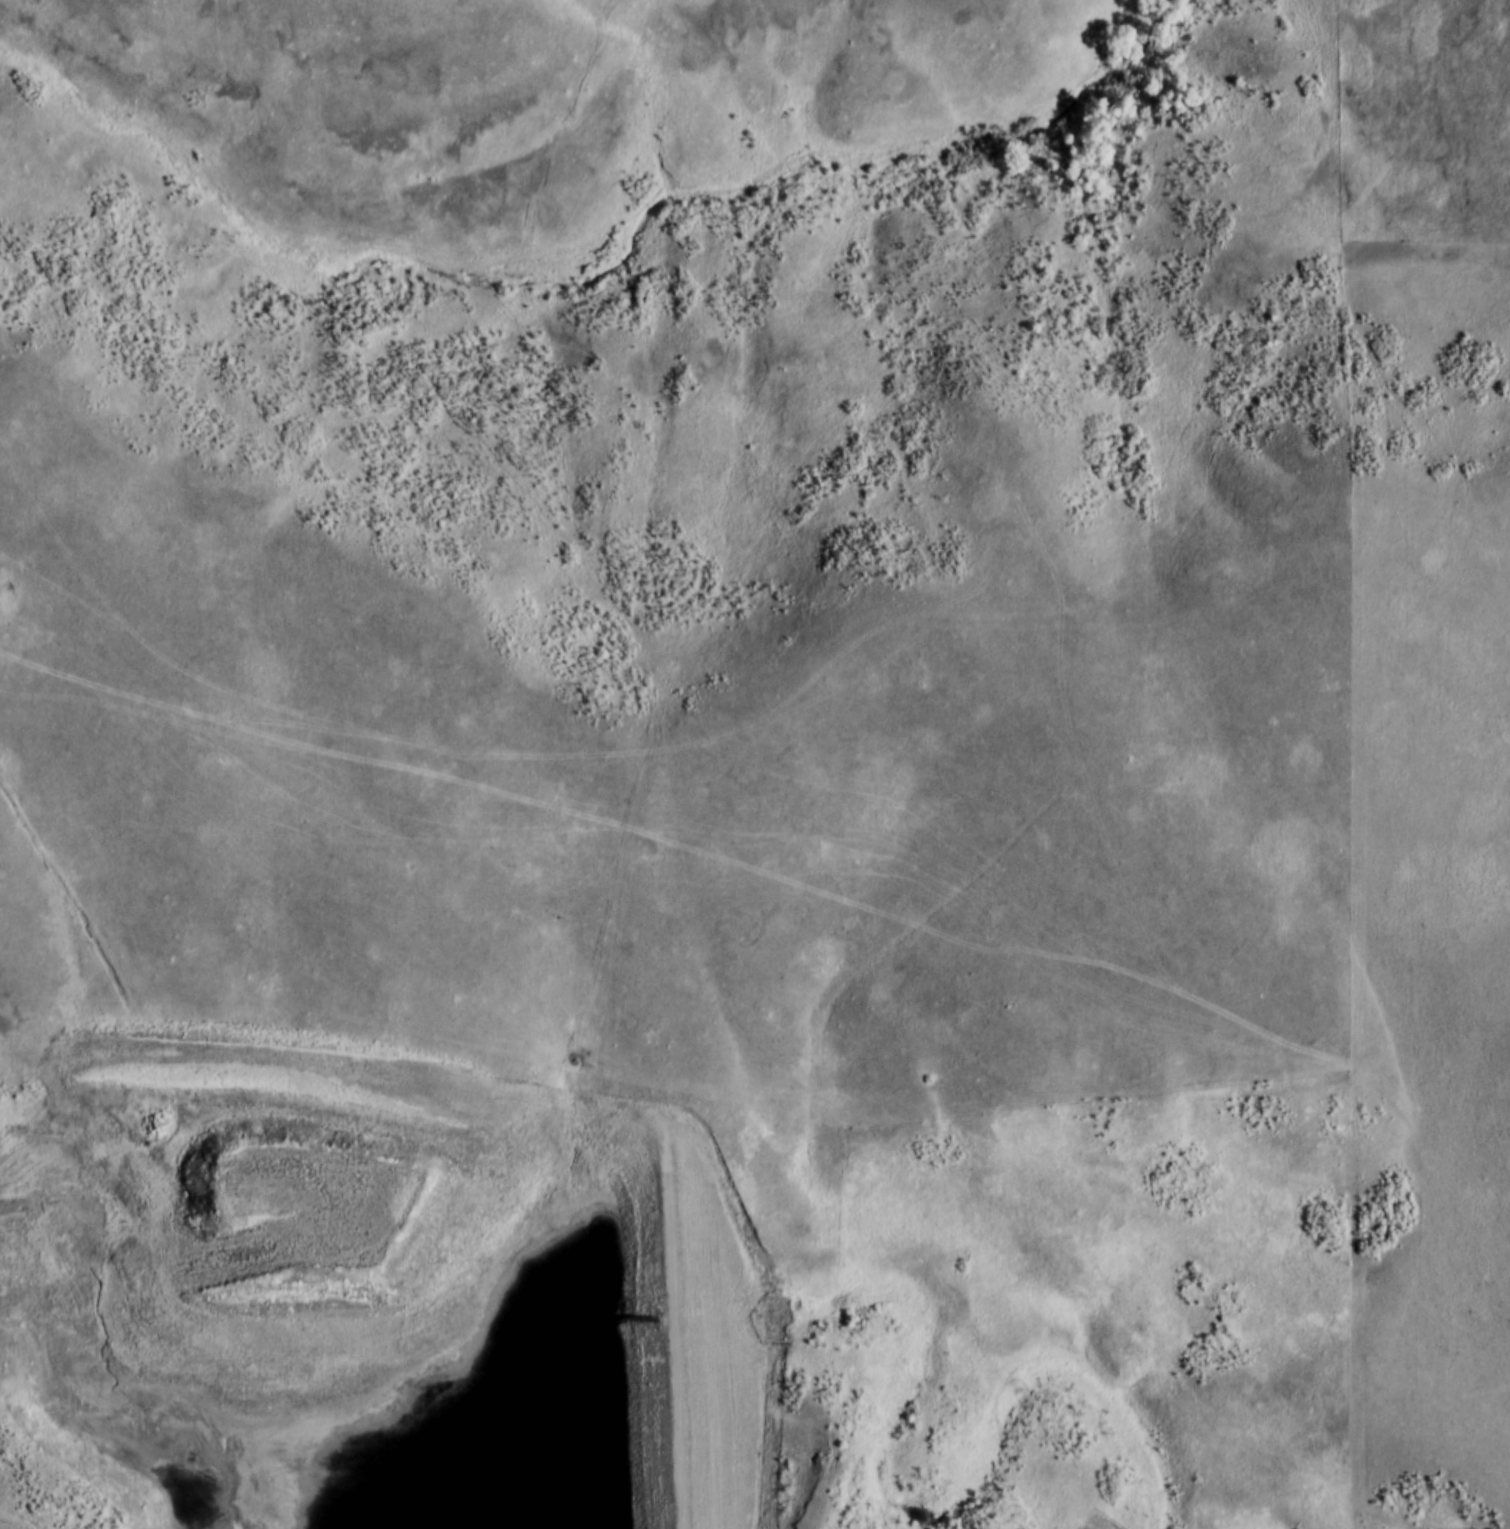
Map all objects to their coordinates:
road: (1378, 1519)

